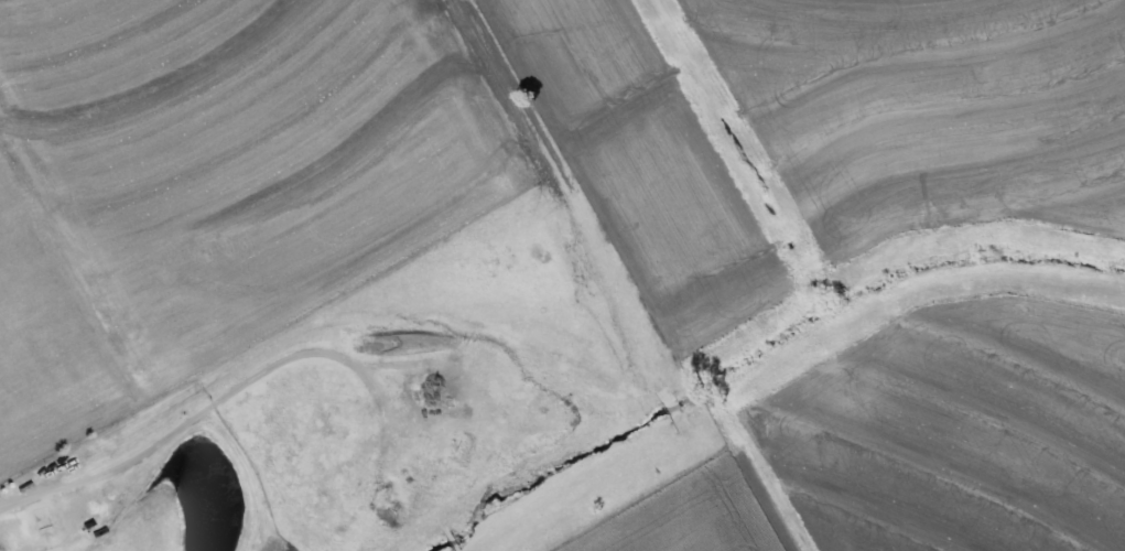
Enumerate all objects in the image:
crop: (934, 108)
crop: (640, 164)
crop: (210, 183)
wastewater plant: (365, 415)
crop: (965, 434)
crop: (694, 515)

